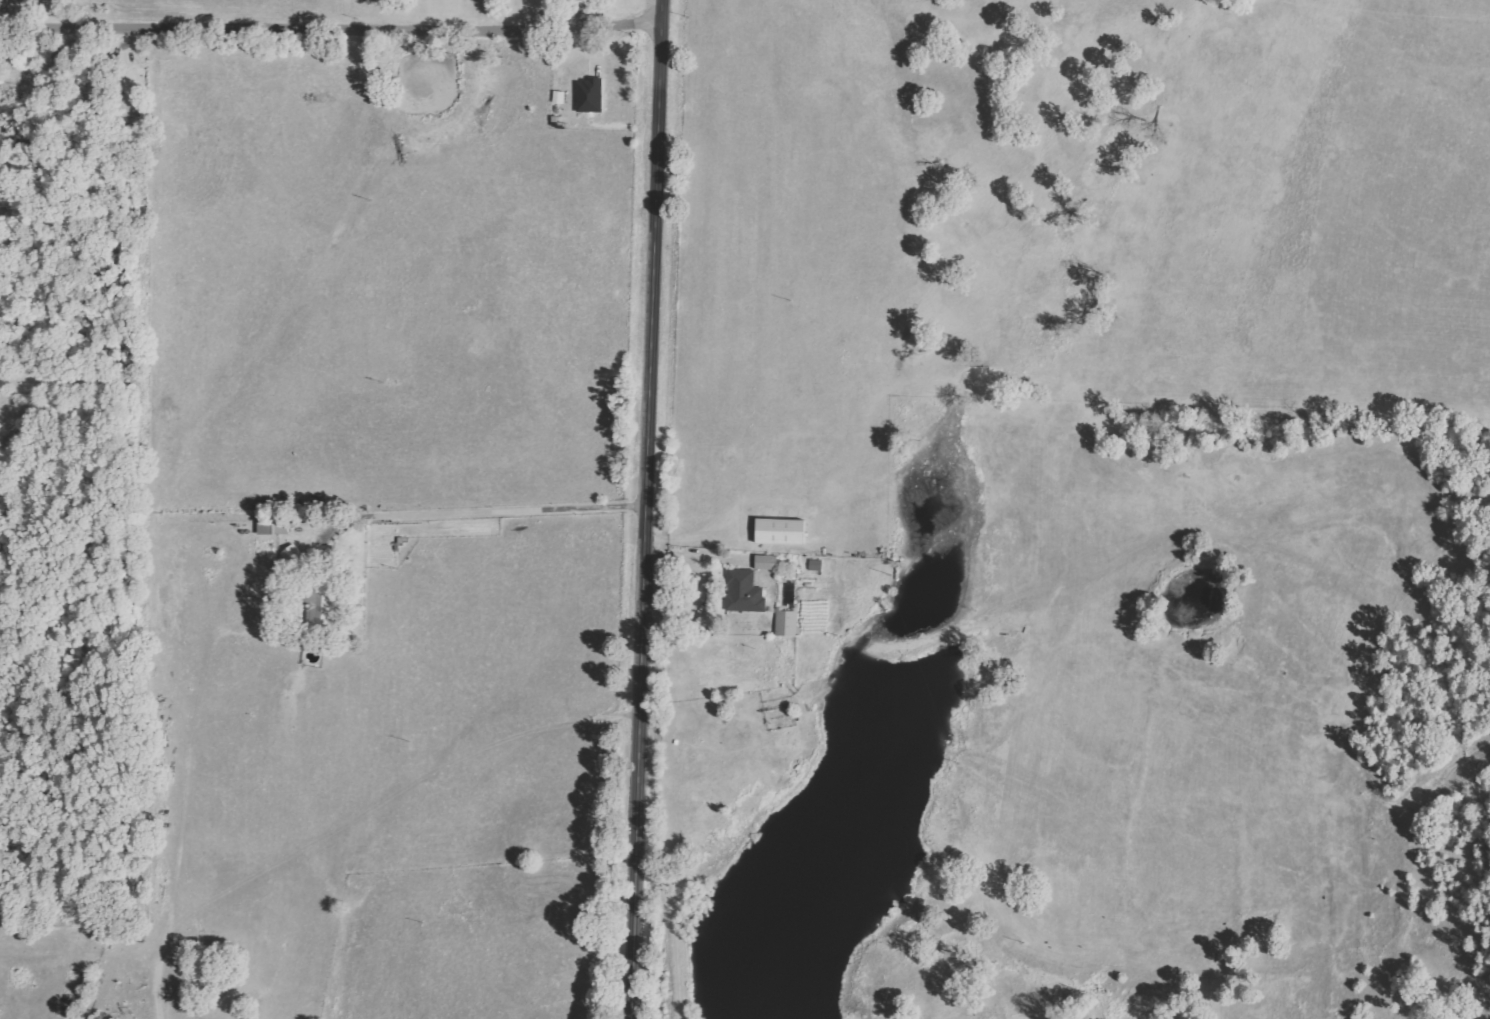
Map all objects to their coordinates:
road: (332, 28)
building: (590, 95)
building: (559, 97)
road: (649, 509)
building: (273, 523)
building: (781, 531)
building: (766, 562)
building: (816, 565)
building: (746, 592)
building: (322, 605)
building: (787, 621)

